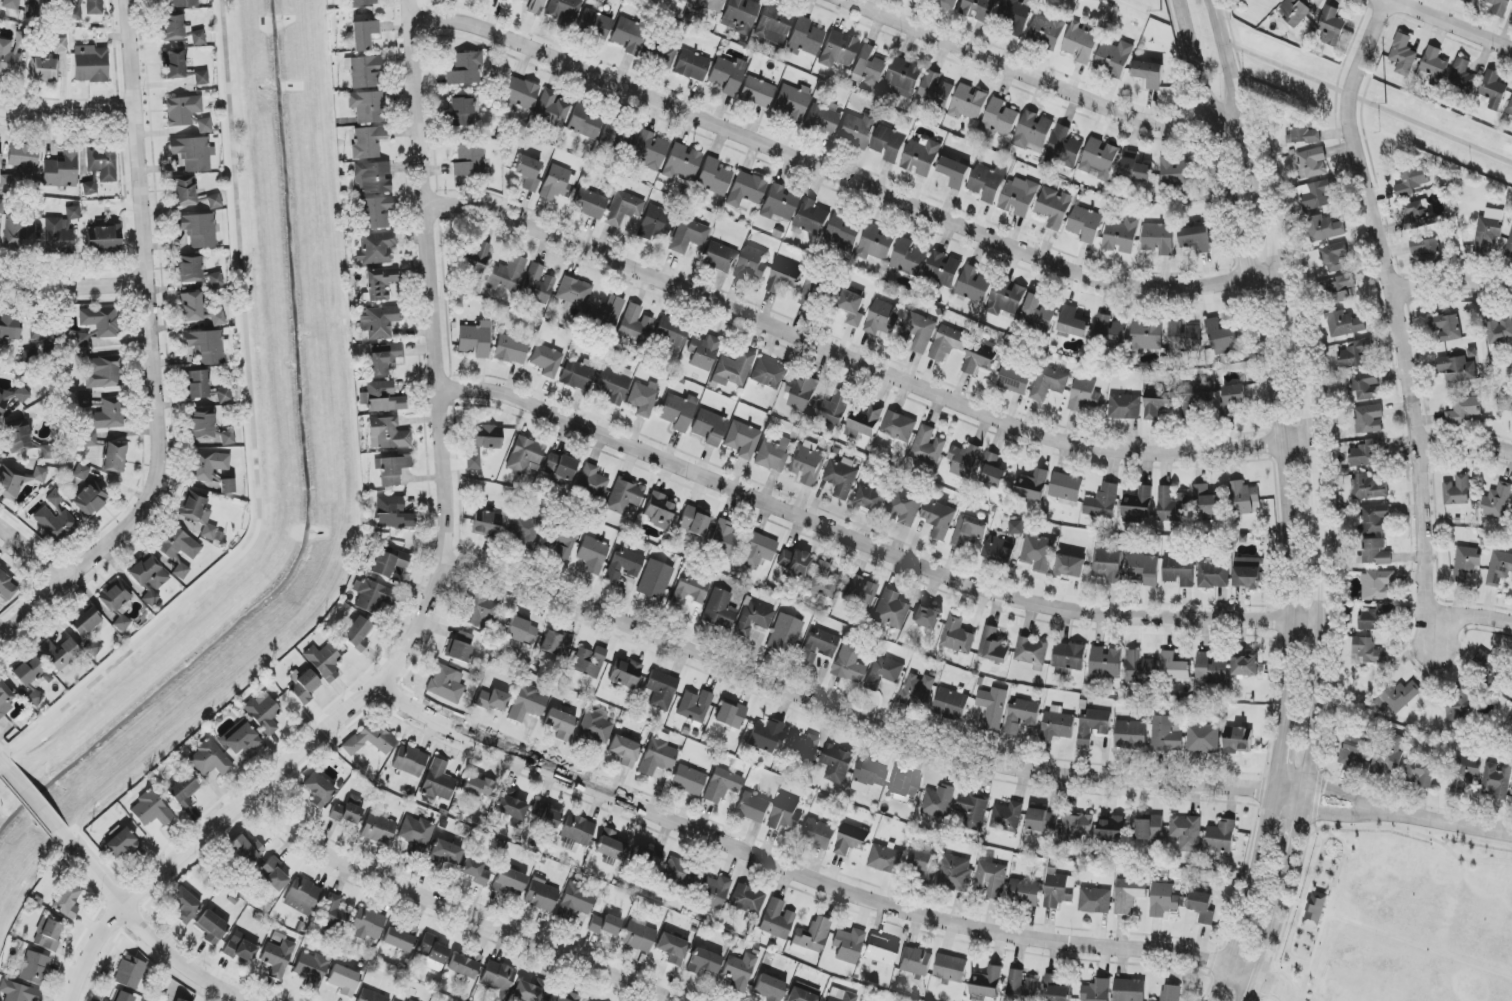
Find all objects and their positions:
building: (503, 0)
building: (683, 0)
building: (362, 2)
building: (1469, 2)
building: (184, 3)
building: (949, 3)
building: (11, 4)
building: (535, 6)
building: (707, 6)
building: (94, 7)
building: (1500, 7)
building: (979, 9)
building: (31, 10)
building: (563, 10)
building: (1294, 11)
building: (74, 12)
building: (1017, 14)
building: (740, 16)
building: (594, 23)
building: (773, 25)
building: (1331, 26)
road: (1447, 26)
building: (173, 28)
building: (1047, 31)
building: (363, 34)
building: (629, 36)
building: (198, 37)
building: (804, 37)
building: (22, 38)
building: (59, 44)
building: (1080, 44)
building: (838, 50)
building: (665, 54)
road: (1228, 55)
building: (1403, 55)
building: (1114, 58)
building: (9, 59)
building: (173, 64)
building: (91, 66)
building: (691, 66)
building: (869, 67)
building: (1434, 67)
building: (465, 68)
building: (44, 70)
building: (364, 71)
building: (1150, 74)
building: (1462, 74)
building: (727, 75)
building: (201, 78)
building: (903, 78)
road: (1045, 79)
building: (936, 90)
building: (1492, 91)
building: (757, 92)
building: (519, 94)
building: (792, 102)
building: (969, 103)
road: (1369, 104)
building: (366, 106)
building: (551, 108)
building: (182, 110)
building: (465, 111)
building: (1509, 111)
road: (64, 116)
building: (1001, 117)
building: (822, 118)
building: (585, 122)
building: (204, 125)
building: (856, 130)
building: (1033, 132)
building: (1304, 132)
building: (610, 133)
road: (1250, 139)
building: (368, 142)
building: (889, 143)
building: (1063, 148)
building: (649, 150)
building: (193, 153)
building: (921, 157)
building: (1099, 157)
building: (469, 159)
building: (24, 160)
building: (1313, 162)
building: (102, 163)
building: (682, 164)
building: (1135, 168)
building: (61, 170)
building: (955, 172)
building: (1176, 172)
building: (528, 173)
road: (847, 173)
building: (374, 177)
building: (714, 177)
building: (6, 181)
building: (1412, 181)
building: (557, 183)
building: (987, 183)
building: (89, 188)
building: (746, 190)
building: (184, 192)
building: (1315, 194)
building: (1019, 197)
building: (214, 201)
building: (779, 203)
building: (590, 204)
building: (1, 206)
building: (623, 208)
building: (1053, 208)
building: (377, 212)
building: (1416, 214)
building: (811, 217)
road: (1272, 219)
building: (654, 223)
building: (1085, 224)
building: (21, 228)
building: (1324, 228)
building: (198, 229)
building: (1489, 230)
building: (61, 232)
building: (845, 232)
building: (689, 235)
building: (1121, 236)
building: (104, 238)
building: (1158, 239)
building: (1196, 239)
building: (876, 243)
building: (1425, 244)
building: (1509, 246)
building: (375, 248)
building: (720, 257)
building: (1335, 257)
building: (909, 258)
building: (476, 259)
building: (751, 264)
building: (190, 269)
building: (943, 269)
building: (506, 274)
road: (1451, 279)
building: (782, 282)
building: (379, 283)
building: (537, 284)
building: (974, 285)
road: (72, 288)
building: (1340, 289)
building: (574, 292)
building: (812, 292)
road: (1290, 295)
building: (1007, 300)
building: (191, 306)
building: (853, 307)
building: (1038, 313)
building: (605, 314)
building: (882, 319)
road: (1397, 320)
building: (100, 321)
building: (378, 322)
building: (634, 324)
building: (1073, 324)
building: (1344, 324)
building: (1447, 327)
building: (9, 328)
building: (1499, 328)
building: (42, 332)
building: (671, 332)
building: (920, 332)
building: (1110, 332)
building: (1147, 336)
building: (1221, 337)
building: (1184, 338)
building: (475, 339)
building: (81, 340)
building: (948, 343)
building: (206, 346)
road: (150, 349)
building: (511, 349)
building: (703, 352)
building: (32, 354)
building: (1355, 354)
building: (384, 358)
building: (982, 359)
building: (546, 360)
road: (1272, 361)
road: (864, 364)
building: (733, 369)
building: (1458, 369)
building: (103, 372)
building: (768, 374)
building: (577, 375)
road: (1310, 377)
building: (1015, 380)
building: (1049, 383)
building: (198, 384)
building: (1364, 385)
building: (612, 386)
building: (801, 393)
building: (222, 395)
building: (1084, 395)
building: (382, 397)
building: (1195, 397)
building: (643, 398)
building: (1233, 399)
building: (4, 400)
building: (84, 400)
building: (1158, 404)
building: (1125, 407)
building: (832, 408)
building: (1465, 409)
building: (678, 412)
building: (108, 414)
building: (1369, 419)
building: (865, 422)
building: (899, 426)
building: (709, 427)
building: (208, 428)
building: (388, 434)
road: (252, 437)
building: (89, 440)
building: (742, 440)
building: (26, 443)
building: (484, 444)
road: (1467, 445)
building: (928, 446)
building: (1367, 453)
building: (774, 454)
building: (525, 455)
building: (115, 457)
building: (965, 460)
building: (808, 463)
building: (211, 466)
building: (560, 466)
building: (391, 469)
road: (1321, 470)
building: (993, 471)
building: (81, 472)
building: (842, 477)
building: (18, 480)
building: (591, 481)
building: (227, 486)
building: (1033, 486)
building: (1066, 487)
building: (1370, 487)
building: (1457, 491)
building: (624, 495)
building: (55, 497)
building: (90, 499)
building: (871, 499)
building: (1244, 499)
building: (1208, 501)
building: (1497, 501)
building: (1103, 502)
building: (1172, 505)
building: (1138, 506)
building: (906, 507)
building: (659, 510)
building: (393, 513)
building: (198, 514)
building: (939, 518)
building: (1375, 518)
building: (694, 521)
building: (55, 523)
building: (487, 524)
building: (1016, 527)
building: (524, 531)
building: (970, 531)
building: (725, 538)
building: (178, 544)
road: (873, 545)
building: (1000, 550)
building: (757, 551)
road: (31, 552)
building: (1376, 552)
building: (1039, 553)
building: (592, 555)
road: (1325, 561)
building: (793, 562)
building: (389, 563)
building: (1466, 563)
building: (623, 565)
building: (1110, 565)
building: (1071, 566)
building: (1499, 569)
building: (180, 570)
building: (1143, 570)
building: (1179, 571)
building: (1249, 573)
road: (443, 575)
building: (1214, 575)
building: (149, 578)
building: (655, 580)
building: (823, 582)
building: (1378, 585)
building: (7, 588)
building: (860, 591)
building: (688, 592)
building: (372, 595)
building: (115, 596)
building: (719, 609)
building: (479, 610)
building: (890, 610)
building: (927, 617)
building: (753, 618)
building: (1374, 618)
road: (1470, 618)
building: (85, 622)
building: (121, 623)
building: (357, 633)
building: (785, 634)
building: (957, 635)
building: (556, 643)
building: (818, 646)
building: (994, 646)
building: (460, 647)
road: (1324, 649)
building: (1031, 651)
building: (1368, 652)
building: (60, 655)
building: (1069, 658)
building: (323, 661)
building: (589, 661)
building: (849, 664)
building: (1105, 664)
building: (1245, 666)
building: (1487, 666)
building: (1174, 667)
building: (1140, 669)
building: (1211, 669)
building: (884, 672)
building: (626, 673)
building: (32, 679)
building: (446, 684)
building: (661, 690)
building: (917, 690)
building: (1398, 697)
building: (5, 700)
building: (492, 700)
building: (528, 703)
building: (1459, 703)
building: (951, 704)
building: (694, 706)
building: (993, 708)
building: (263, 712)
building: (1021, 714)
building: (731, 715)
road: (851, 716)
building: (560, 724)
building: (1058, 724)
building: (1093, 726)
building: (593, 729)
road: (1318, 731)
building: (765, 735)
building: (1131, 735)
building: (1166, 735)
building: (240, 738)
building: (1203, 739)
building: (369, 740)
building: (1238, 740)
building: (1356, 747)
building: (801, 748)
building: (624, 750)
building: (1389, 754)
building: (658, 755)
building: (210, 759)
building: (410, 761)
road: (1281, 762)
building: (837, 764)
building: (1420, 773)
building: (1464, 773)
building: (868, 776)
building: (688, 780)
building: (438, 781)
building: (1496, 781)
building: (722, 785)
building: (905, 786)
building: (478, 787)
road: (1292, 788)
building: (318, 790)
building: (183, 791)
road: (1336, 791)
road: (1306, 797)
road: (32, 799)
building: (939, 802)
building: (753, 807)
building: (151, 810)
building: (973, 810)
building: (347, 811)
road: (1316, 812)
building: (786, 813)
building: (545, 815)
building: (1007, 817)
building: (1043, 820)
road: (1435, 821)
building: (376, 828)
building: (1150, 828)
building: (1076, 829)
building: (1112, 829)
building: (577, 830)
building: (1187, 832)
road: (1299, 832)
building: (818, 833)
building: (417, 834)
building: (1221, 837)
building: (121, 843)
building: (610, 845)
building: (849, 845)
building: (246, 850)
building: (446, 852)
building: (647, 856)
building: (886, 859)
building: (921, 861)
building: (475, 871)
building: (678, 871)
building: (955, 873)
building: (273, 874)
road: (805, 874)
building: (991, 879)
building: (509, 882)
building: (712, 891)
building: (1059, 891)
building: (1025, 892)
building: (541, 895)
building: (1129, 895)
building: (302, 896)
road: (1253, 898)
building: (747, 899)
building: (1164, 900)
building: (66, 901)
building: (1095, 901)
building: (576, 902)
building: (184, 904)
building: (1202, 907)
road: (459, 909)
building: (1316, 909)
building: (333, 914)
road: (1278, 916)
building: (777, 919)
park: (1402, 921)
building: (367, 924)
building: (605, 925)
building: (212, 927)
road: (146, 928)
building: (47, 935)
building: (811, 936)
building: (639, 937)
building: (400, 938)
building: (848, 945)
building: (240, 948)
building: (673, 948)
building: (881, 950)
building: (433, 953)
building: (278, 959)
building: (915, 961)
building: (704, 962)
building: (465, 965)
building: (34, 968)
building: (310, 968)
building: (951, 968)
building: (130, 972)
building: (739, 972)
building: (498, 978)
building: (344, 980)
building: (987, 983)
building: (1022, 985)
road: (1277, 986)
building: (1057, 988)
building: (768, 989)
road: (1256, 989)
building: (1129, 990)
building: (528, 991)
building: (1097, 991)
building: (18, 992)
building: (1171, 993)
building: (803, 994)
building: (841, 995)
building: (371, 996)
building: (122, 997)
building: (565, 997)
building: (177, 1000)

